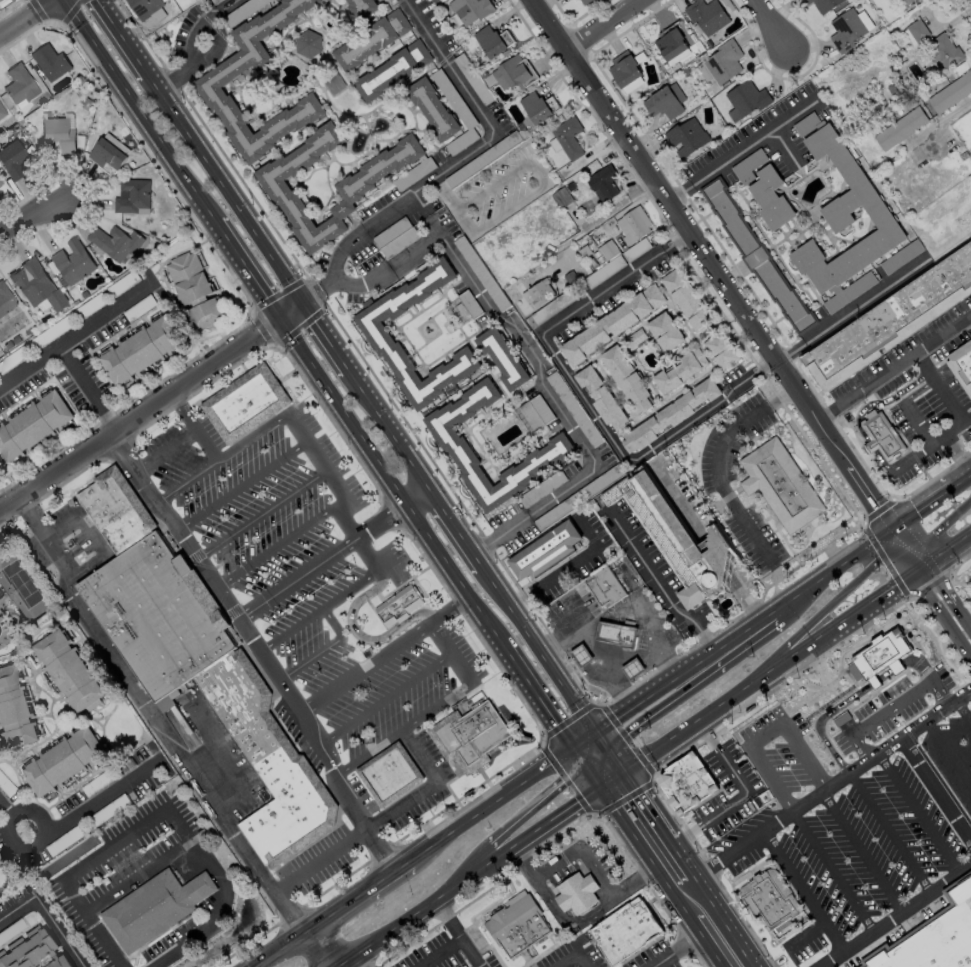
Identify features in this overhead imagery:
building: (0, 0)
building: (919, 0)
building: (215, 1)
building: (584, 1)
building: (903, 2)
road: (224, 4)
building: (822, 4)
building: (142, 7)
building: (360, 8)
building: (469, 9)
building: (705, 15)
road: (26, 18)
road: (595, 20)
road: (762, 20)
building: (848, 28)
building: (915, 32)
road: (124, 37)
building: (370, 39)
building: (491, 40)
building: (668, 42)
building: (307, 44)
building: (944, 51)
road: (196, 54)
building: (722, 61)
building: (49, 62)
building: (623, 68)
building: (391, 70)
building: (514, 73)
building: (18, 84)
building: (207, 84)
building: (950, 92)
building: (744, 99)
building: (663, 101)
building: (537, 106)
building: (431, 109)
building: (1, 111)
road: (133, 111)
road: (938, 120)
building: (899, 128)
road: (492, 133)
building: (57, 134)
building: (567, 137)
building: (685, 137)
road: (784, 145)
road: (743, 148)
building: (105, 153)
building: (11, 159)
road: (539, 173)
building: (0, 182)
building: (601, 182)
building: (353, 186)
road: (227, 187)
road: (494, 187)
building: (131, 195)
building: (769, 198)
road: (452, 206)
road: (510, 209)
building: (842, 213)
road: (424, 214)
road: (31, 218)
building: (632, 224)
building: (114, 242)
building: (605, 252)
building: (755, 256)
building: (71, 262)
road: (335, 268)
road: (246, 270)
road: (363, 283)
road: (730, 284)
building: (36, 285)
building: (193, 289)
building: (535, 291)
building: (5, 299)
building: (685, 299)
traffic signals: (304, 301)
road: (852, 310)
traffic signals: (279, 317)
building: (891, 319)
building: (611, 323)
road: (78, 330)
building: (373, 331)
building: (664, 331)
road: (327, 335)
building: (635, 337)
building: (719, 349)
building: (139, 350)
road: (531, 354)
building: (502, 357)
road: (894, 366)
building: (962, 368)
building: (679, 370)
building: (625, 377)
road: (87, 386)
road: (939, 387)
road: (917, 390)
building: (601, 396)
road: (583, 399)
road: (880, 402)
building: (244, 404)
road: (151, 405)
road: (181, 411)
building: (669, 414)
road: (915, 423)
building: (32, 424)
road: (389, 426)
building: (881, 436)
road: (930, 444)
road: (204, 445)
road: (870, 445)
building: (453, 446)
road: (163, 449)
road: (956, 453)
road: (222, 456)
road: (319, 459)
road: (881, 461)
road: (961, 476)
road: (718, 481)
road: (389, 483)
building: (780, 483)
road: (243, 485)
road: (415, 494)
road: (921, 504)
building: (117, 509)
road: (262, 513)
road: (456, 525)
traffic signals: (890, 525)
road: (931, 527)
road: (500, 534)
road: (92, 539)
road: (358, 539)
building: (678, 540)
road: (278, 545)
building: (545, 552)
road: (321, 560)
road: (568, 566)
traffic signals: (920, 572)
road: (657, 584)
building: (604, 585)
building: (400, 606)
road: (790, 607)
road: (937, 607)
road: (320, 610)
road: (954, 610)
road: (824, 613)
building: (158, 616)
road: (742, 629)
building: (616, 632)
road: (362, 636)
road: (260, 646)
building: (876, 647)
road: (325, 648)
road: (539, 649)
road: (589, 650)
road: (453, 651)
road: (385, 653)
road: (797, 653)
road: (641, 654)
building: (581, 655)
road: (890, 656)
road: (913, 662)
road: (877, 665)
building: (633, 668)
building: (68, 671)
road: (867, 672)
road: (693, 687)
road: (537, 698)
road: (386, 699)
road: (438, 706)
road: (892, 707)
road: (964, 708)
building: (14, 710)
road: (810, 714)
road: (156, 719)
traffic signals: (595, 733)
road: (189, 737)
building: (470, 738)
road: (583, 740)
road: (602, 742)
road: (214, 748)
traffic signals: (572, 748)
road: (589, 749)
road: (948, 750)
road: (371, 753)
road: (577, 756)
building: (62, 761)
building: (268, 761)
road: (617, 761)
road: (808, 766)
road: (604, 768)
traffic signals: (624, 771)
building: (389, 775)
road: (591, 775)
road: (611, 778)
road: (831, 781)
building: (688, 784)
traffic signals: (599, 785)
road: (935, 790)
road: (742, 793)
road: (490, 803)
road: (647, 805)
road: (158, 812)
road: (518, 812)
road: (914, 812)
road: (556, 815)
road: (380, 819)
road: (69, 821)
road: (886, 831)
road: (643, 852)
road: (681, 857)
road: (523, 860)
road: (828, 870)
road: (137, 876)
road: (444, 878)
road: (800, 888)
road: (543, 892)
building: (577, 894)
road: (357, 896)
building: (772, 902)
road: (427, 905)
building: (153, 909)
road: (891, 912)
road: (46, 914)
road: (724, 921)
building: (517, 927)
building: (626, 931)
road: (456, 933)
building: (934, 937)
road: (706, 943)
building: (27, 949)
road: (322, 949)
road: (280, 950)
road: (675, 950)
road: (437, 952)
road: (572, 955)
building: (57, 962)
road: (338, 966)
road: (340, 966)

